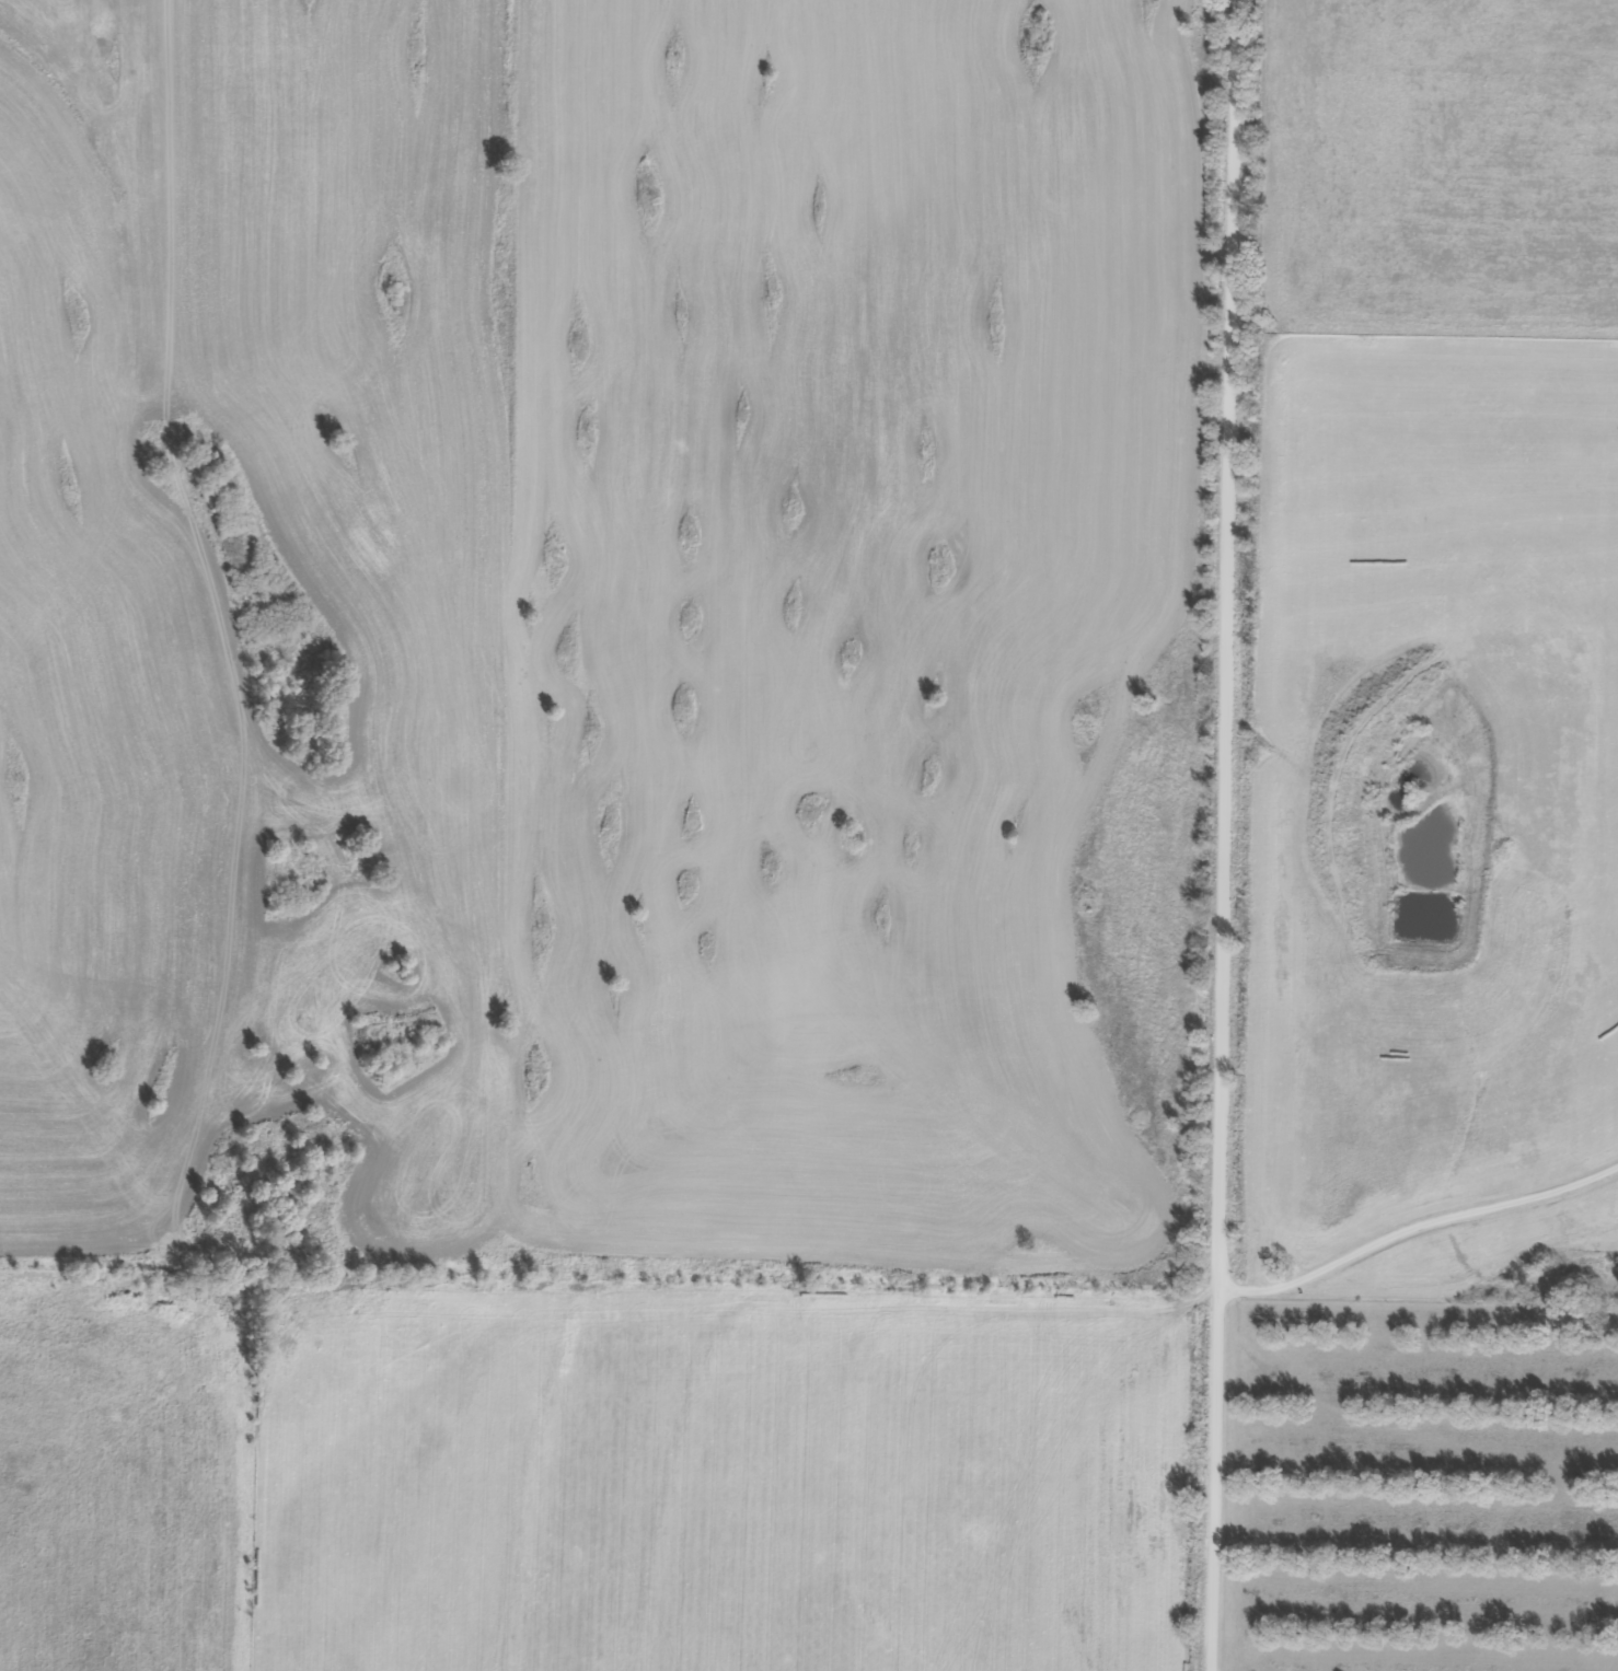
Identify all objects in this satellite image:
road: (1216, 835)

